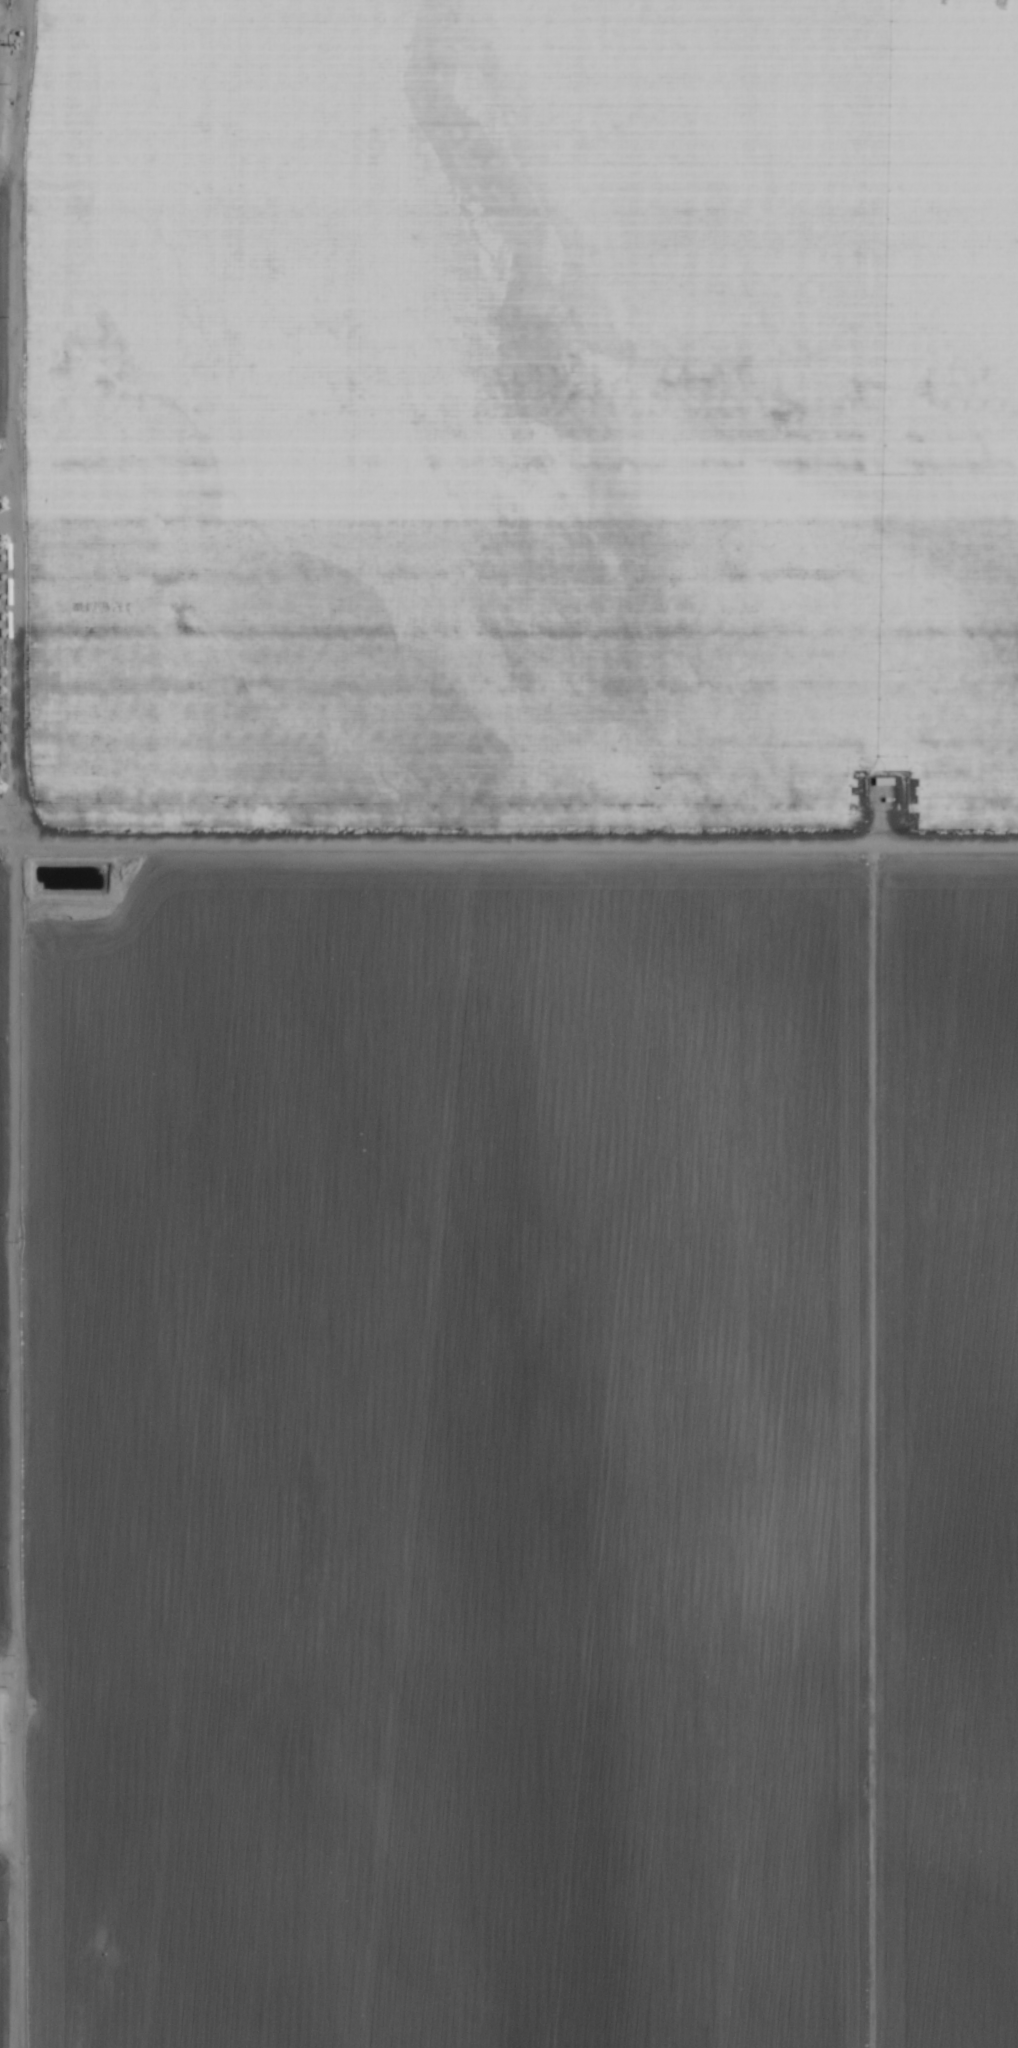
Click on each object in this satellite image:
road: (509, 831)
crop: (509, 1024)

